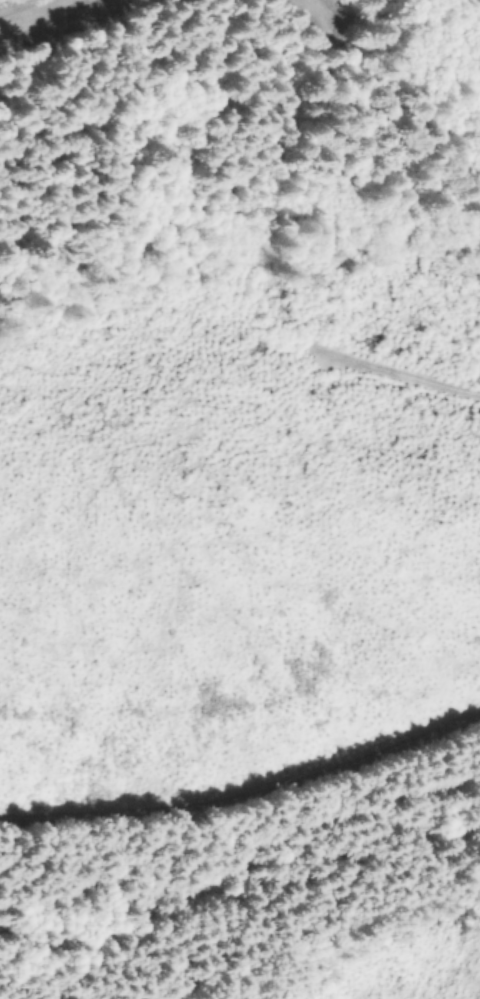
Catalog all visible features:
road: (366, 369)
road: (244, 792)

